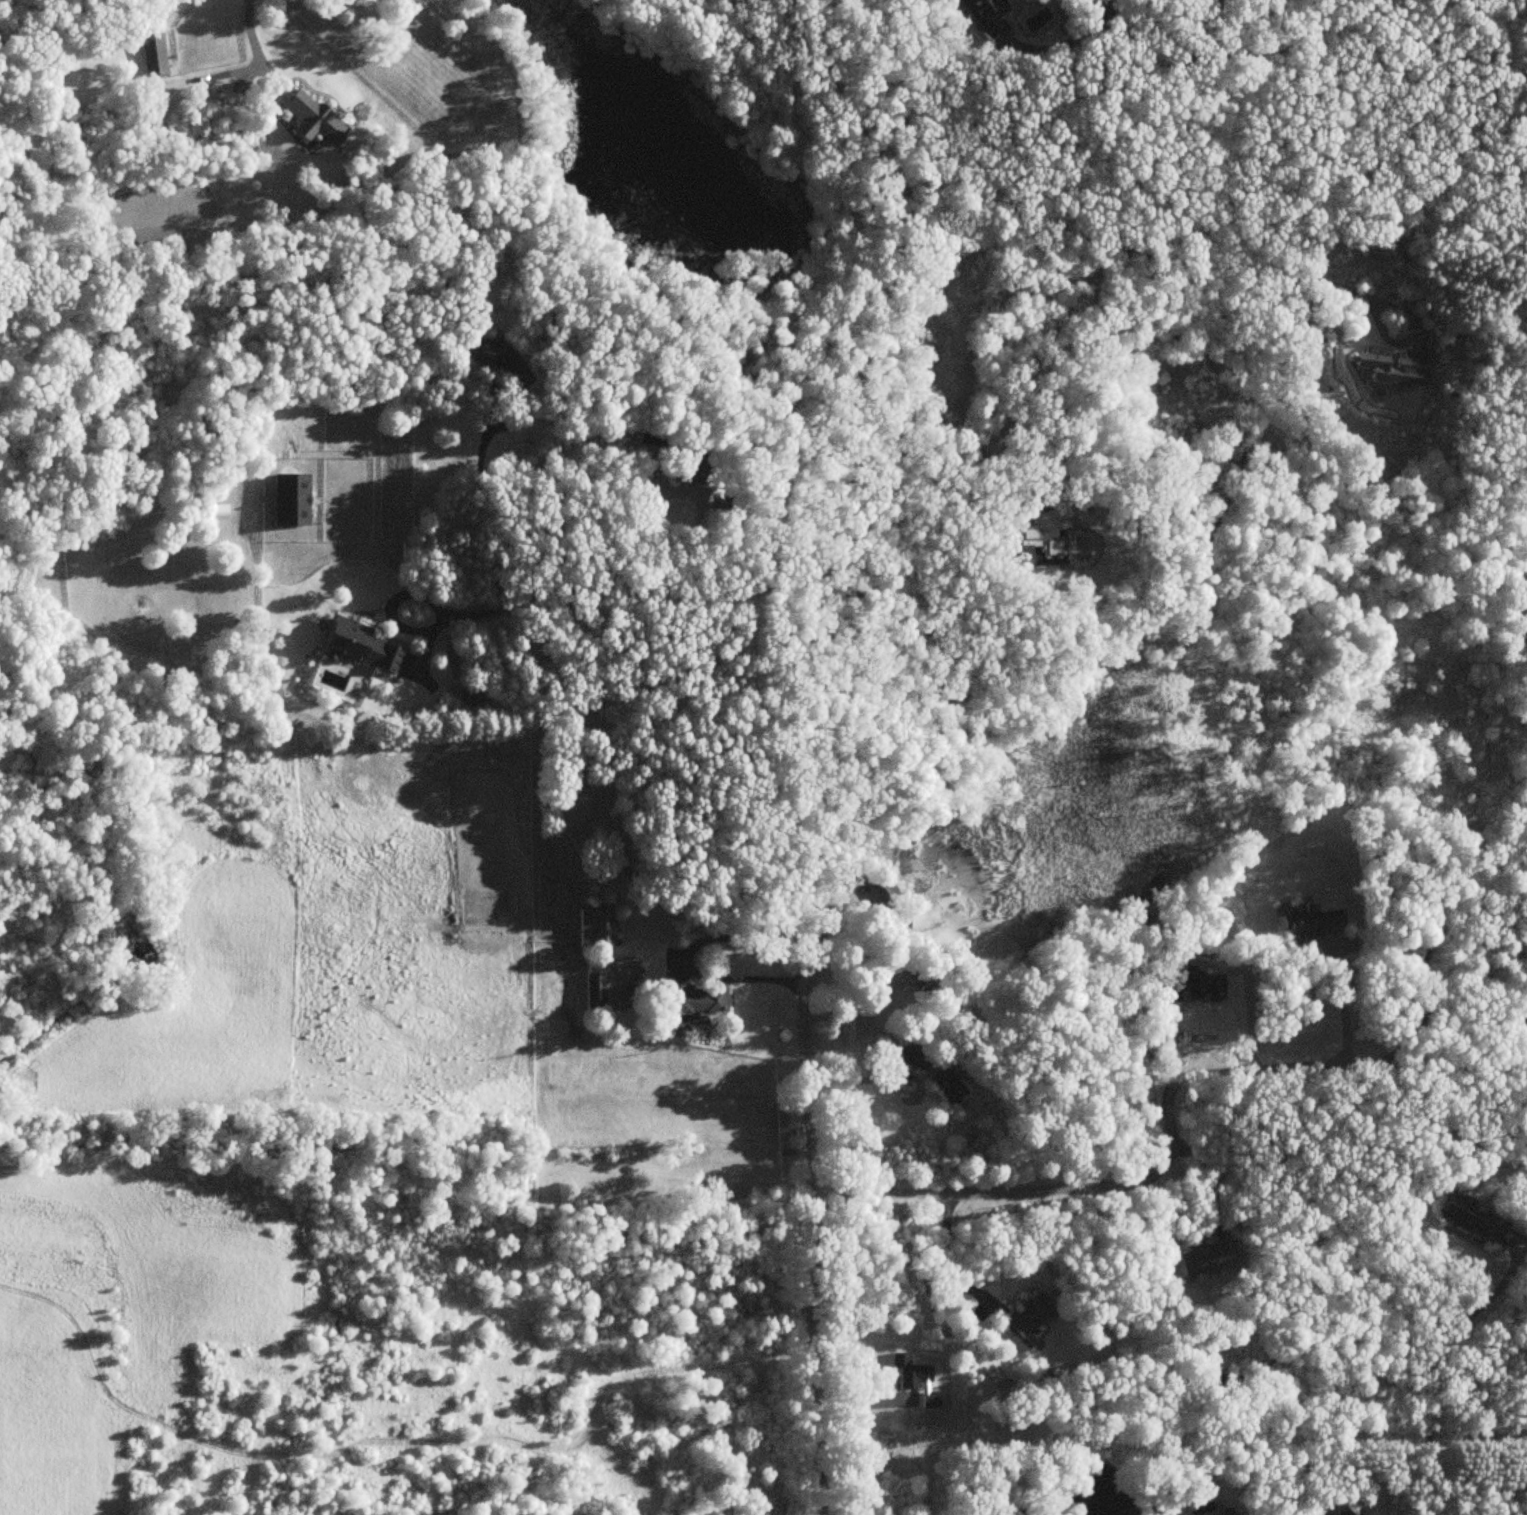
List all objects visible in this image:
building: (984, 19)
road: (1210, 28)
road: (251, 41)
road: (1301, 49)
building: (152, 54)
building: (311, 117)
road: (1122, 250)
building: (1389, 369)
road: (667, 491)
building: (289, 499)
road: (483, 499)
building: (1034, 546)
road: (643, 594)
building: (356, 645)
road: (863, 735)
building: (880, 887)
building: (1309, 923)
building: (592, 927)
road: (1428, 941)
road: (688, 950)
building: (917, 983)
building: (593, 991)
building: (689, 999)
road: (1344, 1006)
building: (1521, 1014)
road: (895, 1073)
building: (946, 1082)
road: (1167, 1120)
road: (1207, 1180)
building: (1467, 1217)
road: (950, 1251)
building: (1207, 1259)
building: (929, 1296)
road: (1402, 1309)
road: (1475, 1309)
building: (1023, 1316)
building: (911, 1373)
building: (1223, 1512)

